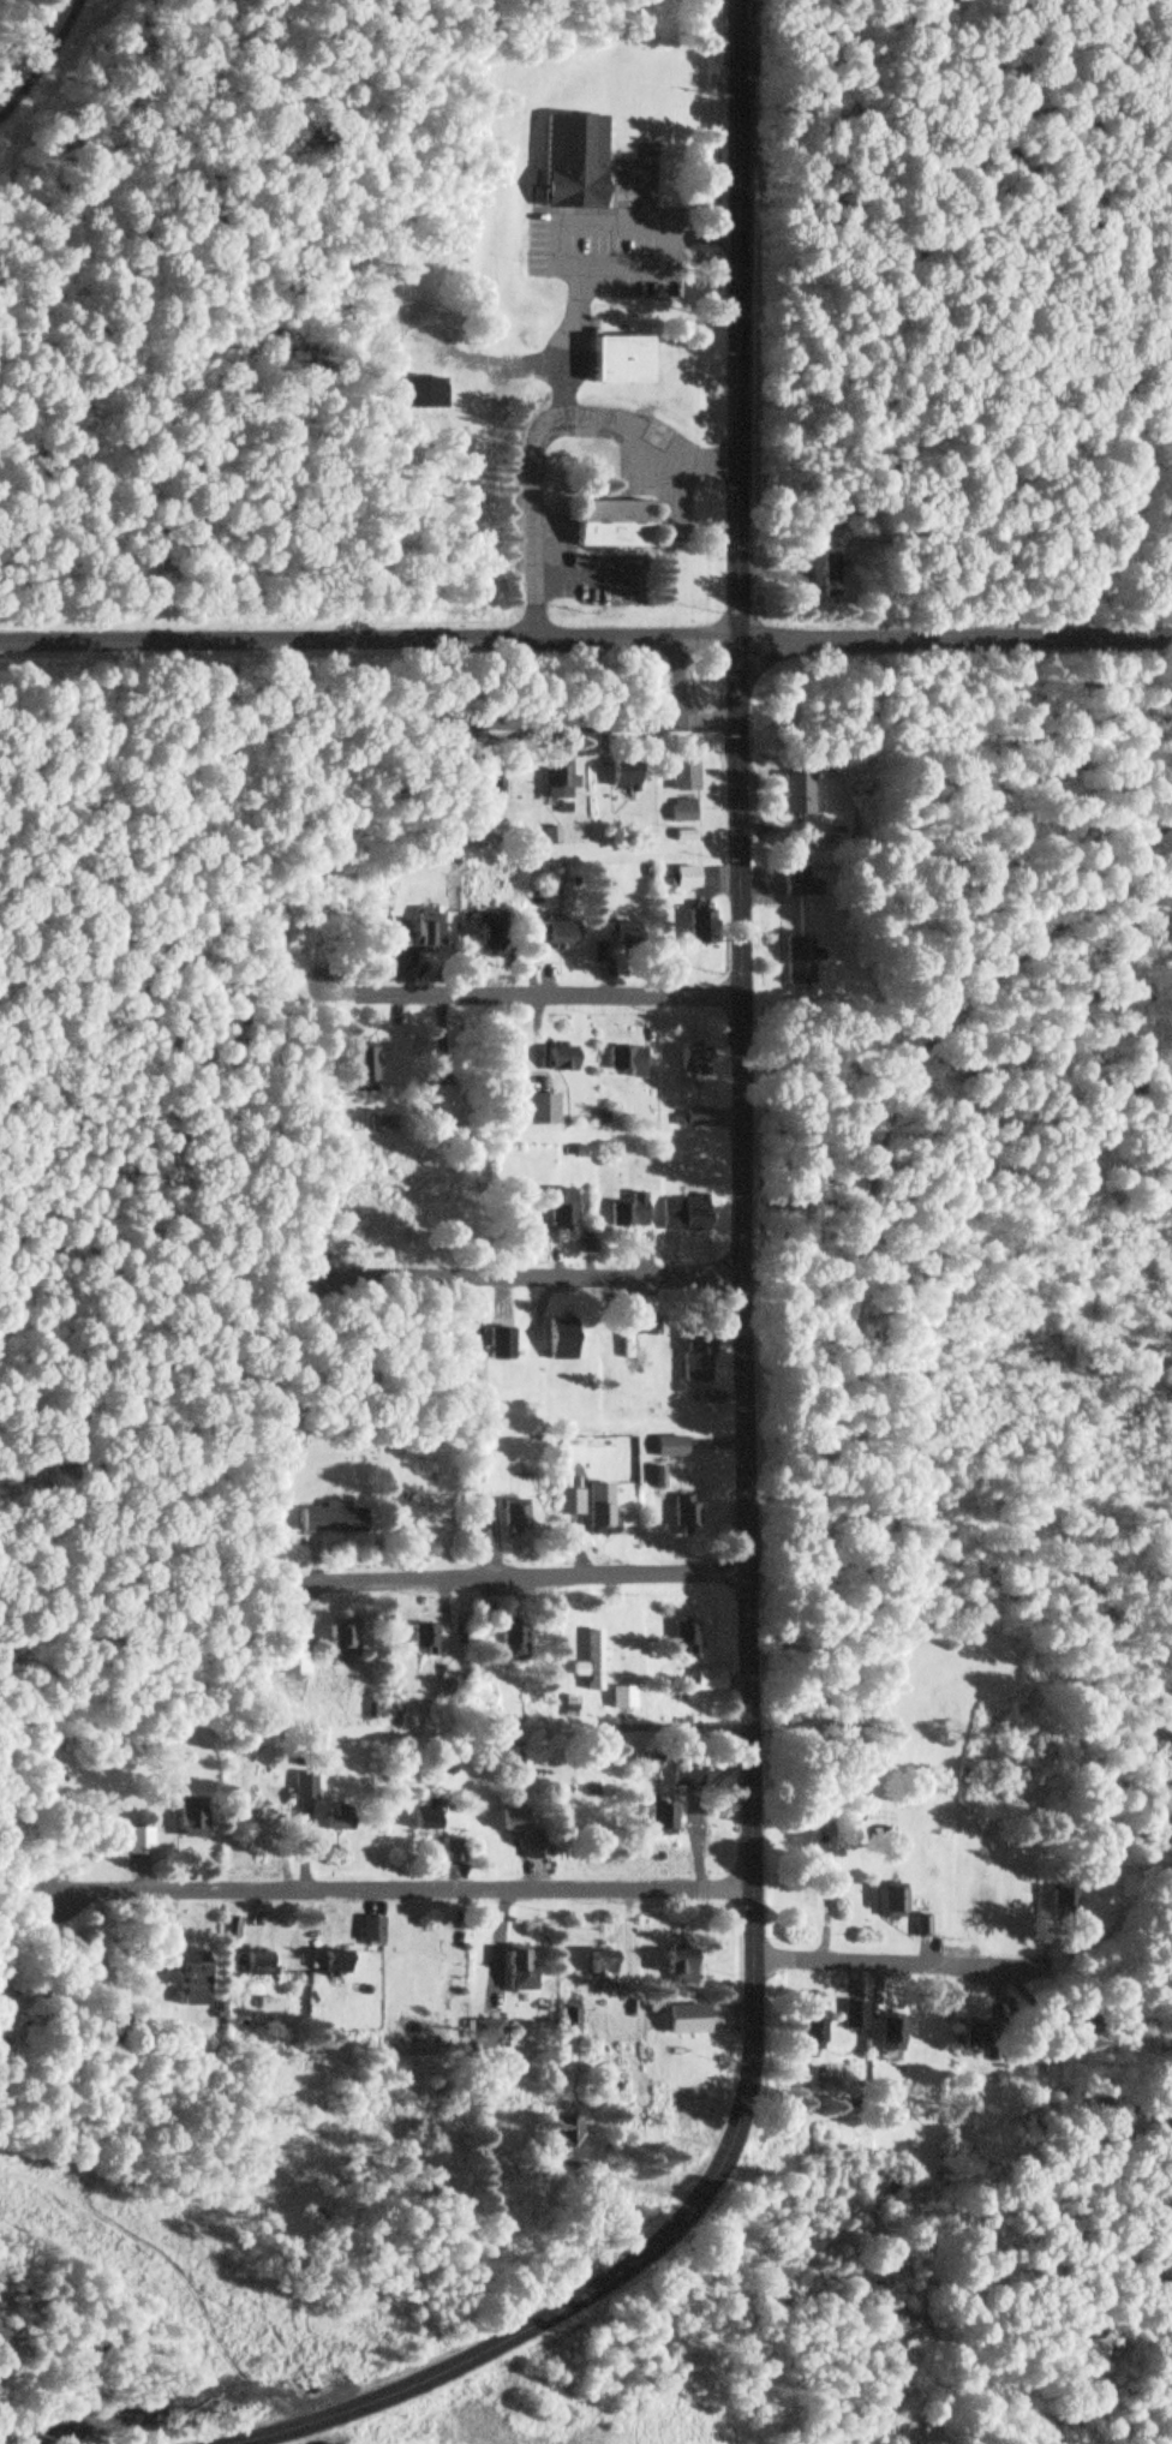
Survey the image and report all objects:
road: (43, 62)
building: (568, 163)
building: (615, 361)
building: (414, 394)
building: (606, 526)
building: (824, 576)
road: (585, 638)
road: (581, 722)
building: (616, 776)
building: (680, 776)
building: (554, 779)
building: (789, 794)
building: (678, 811)
building: (680, 878)
building: (789, 882)
building: (486, 932)
building: (548, 933)
building: (415, 939)
building: (615, 942)
building: (790, 963)
road: (540, 1000)
building: (554, 1058)
building: (621, 1060)
building: (687, 1060)
building: (359, 1065)
building: (432, 1101)
building: (532, 1110)
building: (692, 1118)
building: (554, 1206)
building: (623, 1212)
building: (678, 1214)
road: (568, 1283)
building: (554, 1339)
building: (626, 1349)
building: (693, 1350)
road: (731, 1404)
building: (664, 1446)
building: (566, 1502)
building: (593, 1507)
building: (681, 1513)
building: (502, 1514)
building: (327, 1518)
building: (470, 1541)
road: (521, 1580)
building: (417, 1637)
building: (682, 1637)
building: (333, 1641)
building: (506, 1642)
building: (587, 1663)
building: (704, 1681)
building: (616, 1698)
building: (161, 1750)
building: (441, 1767)
building: (678, 1774)
building: (252, 1817)
building: (417, 1817)
building: (185, 1818)
building: (652, 1819)
building: (330, 1821)
building: (506, 1821)
building: (134, 1841)
building: (531, 1848)
road: (369, 1893)
building: (1059, 1901)
building: (886, 1902)
building: (976, 1902)
building: (367, 1931)
building: (252, 1964)
building: (327, 1964)
building: (670, 1964)
building: (593, 1965)
road: (957, 1968)
building: (515, 1971)
building: (186, 1980)
building: (681, 2019)
building: (849, 2024)
building: (1072, 2025)
building: (485, 2032)
building: (802, 2034)
building: (884, 2036)
building: (968, 2036)
building: (554, 2141)

